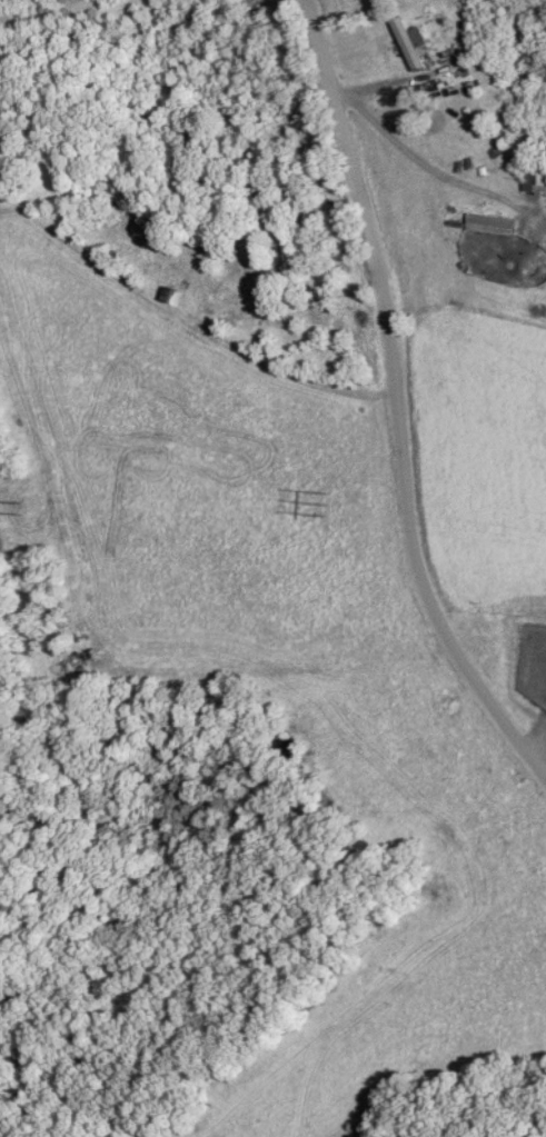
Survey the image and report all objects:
building: (430, 11)
building: (532, 173)
building: (488, 225)
road: (397, 402)
power substation: (532, 662)

